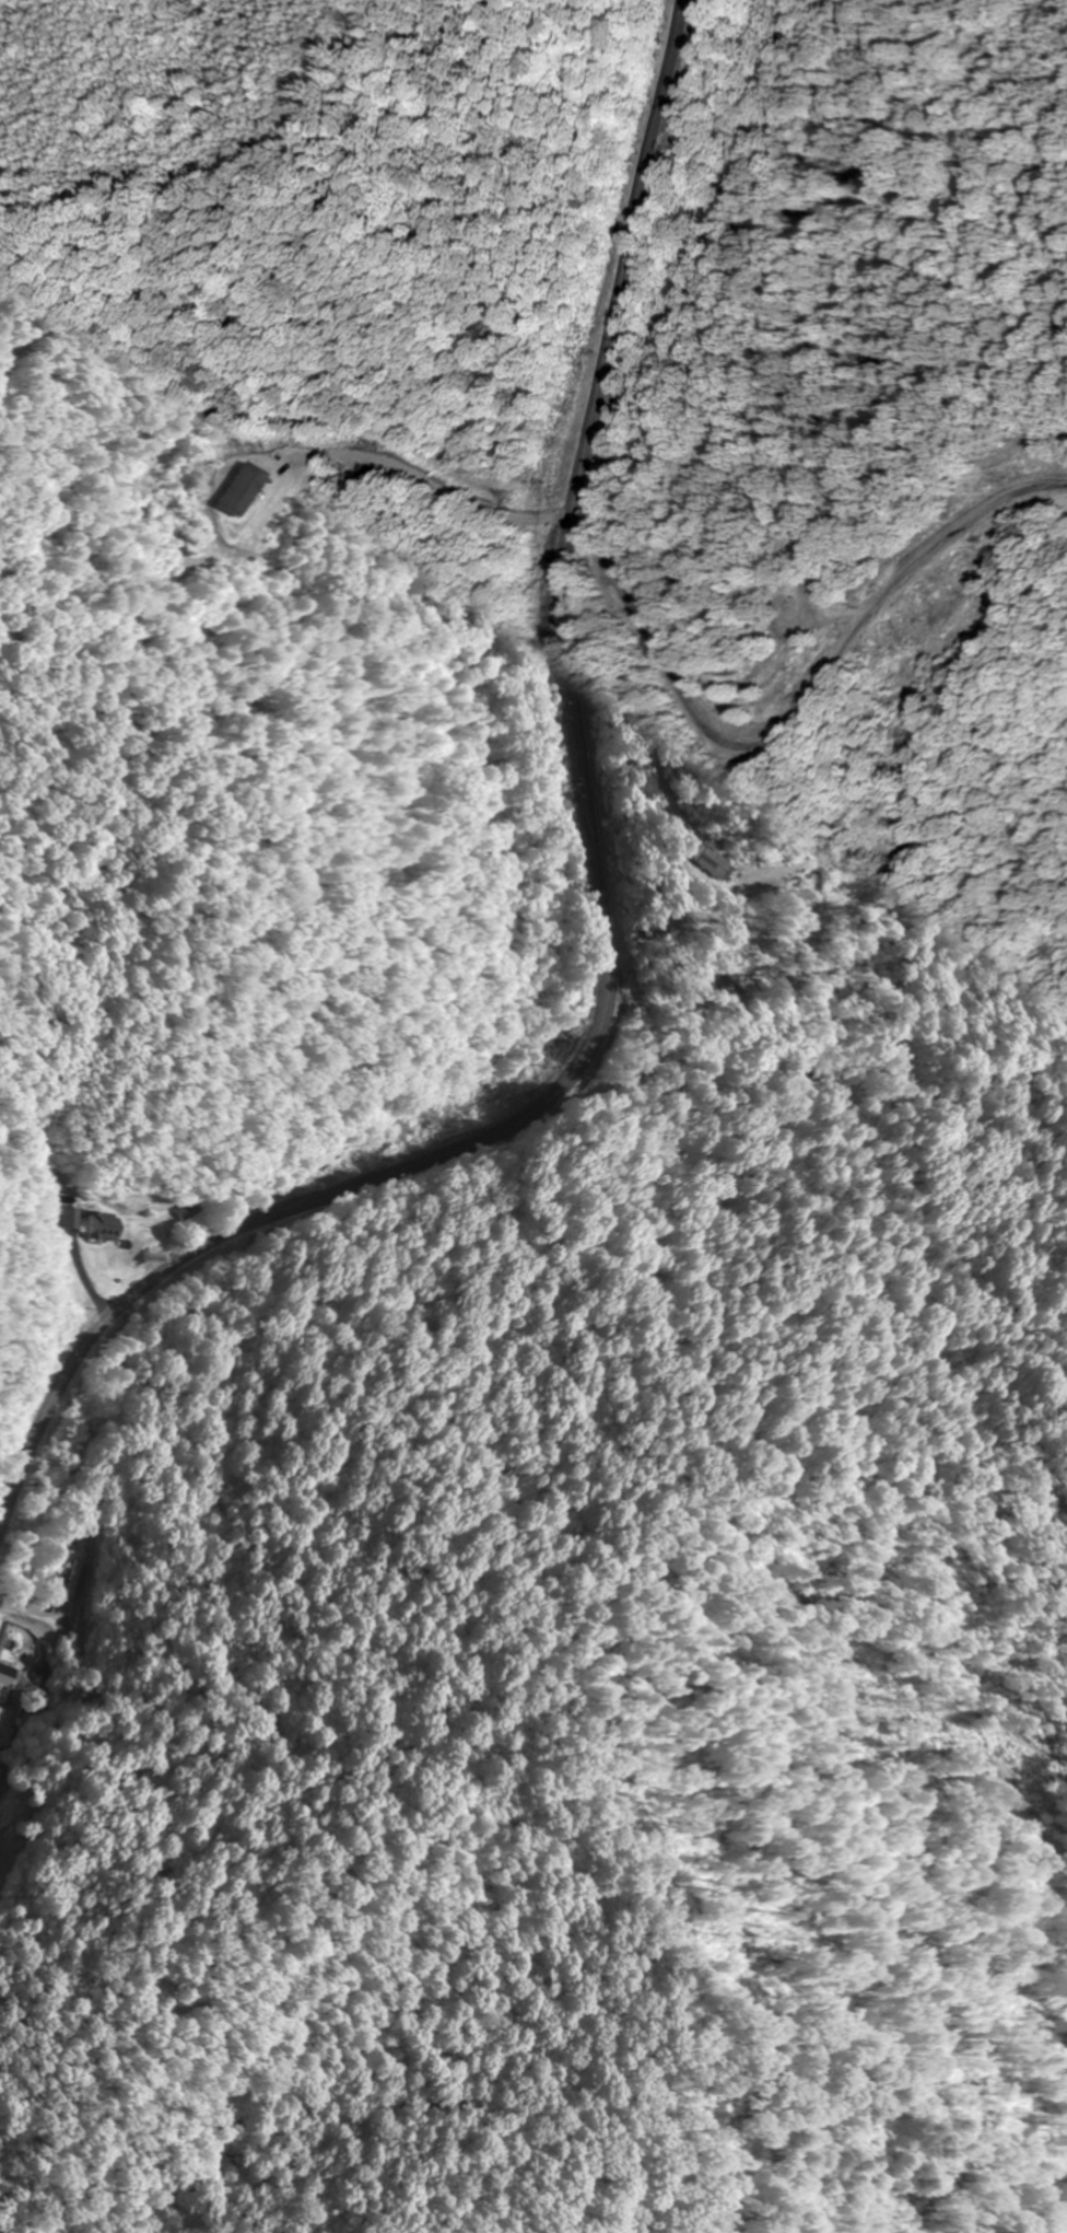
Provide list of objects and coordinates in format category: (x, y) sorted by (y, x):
building: (250, 480)
building: (712, 861)
road: (598, 906)
building: (189, 1210)
building: (77, 1218)
building: (107, 1226)
building: (8, 1684)

